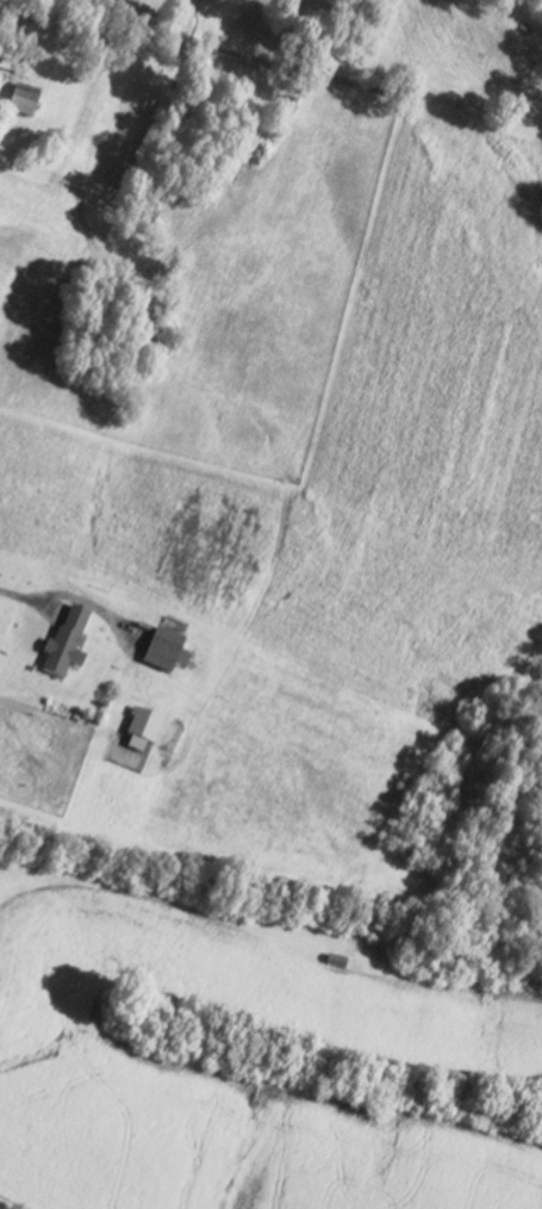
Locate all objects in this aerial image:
road: (5, 14)
building: (23, 105)
building: (68, 645)
building: (167, 652)

